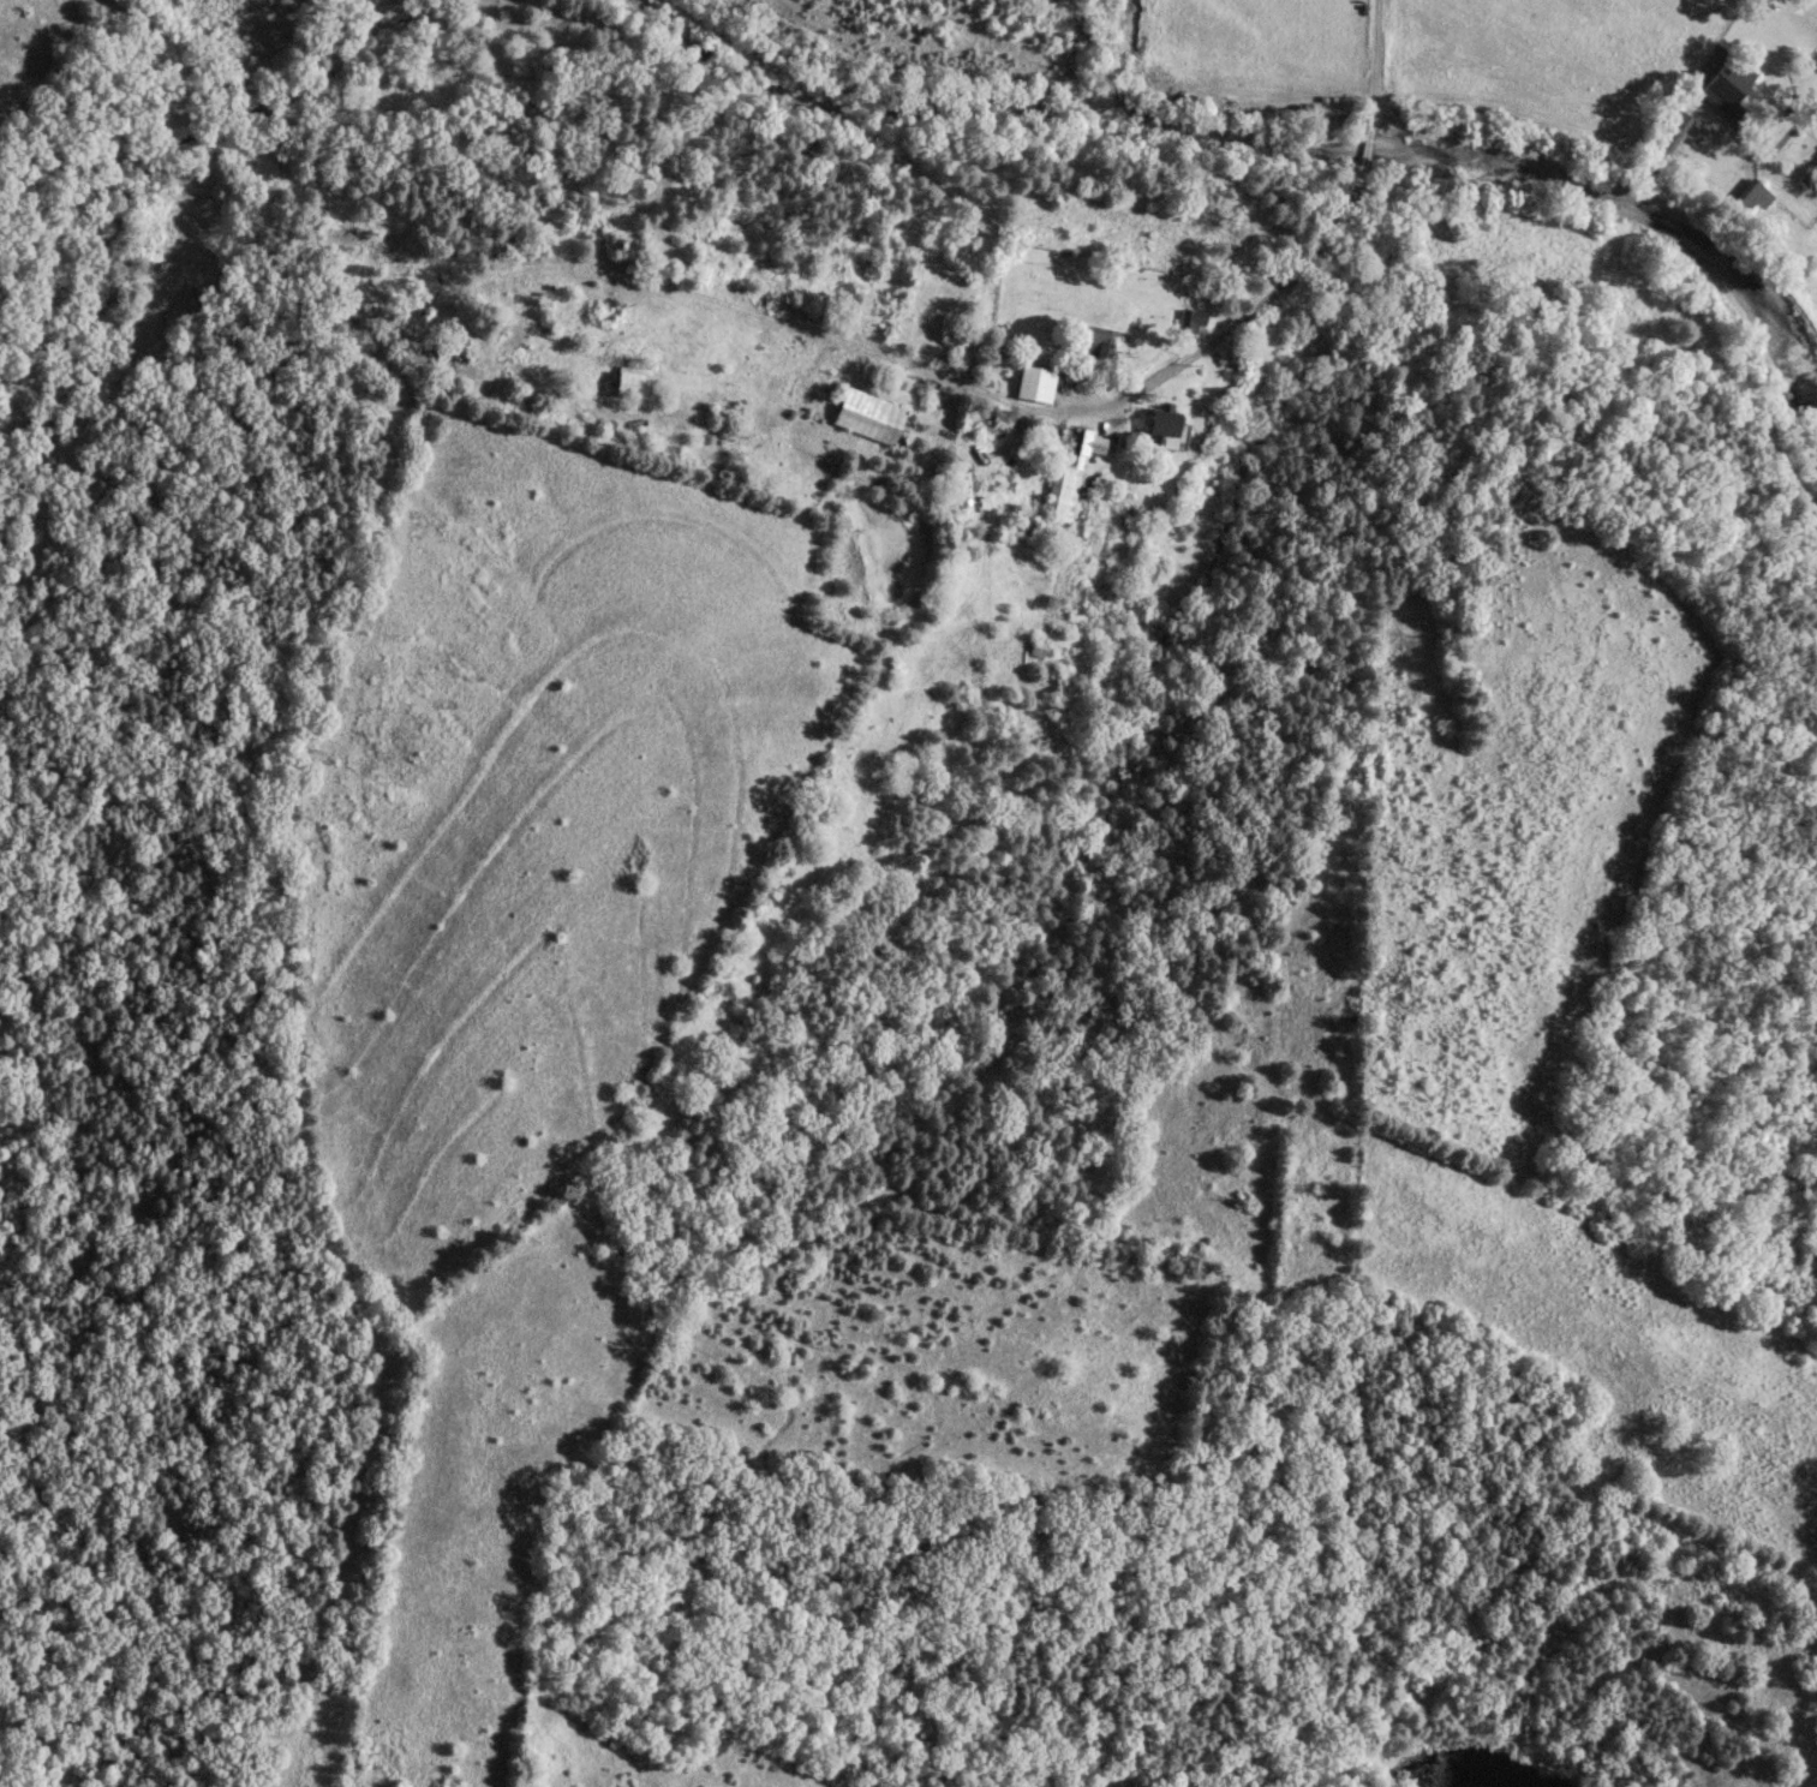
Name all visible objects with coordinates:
building: (1727, 88)
road: (1768, 156)
building: (1815, 162)
building: (1749, 198)
road: (1332, 259)
road: (745, 310)
building: (1185, 321)
building: (1090, 341)
building: (634, 379)
building: (1032, 383)
building: (866, 416)
building: (1156, 423)
building: (1068, 470)
building: (1034, 646)

